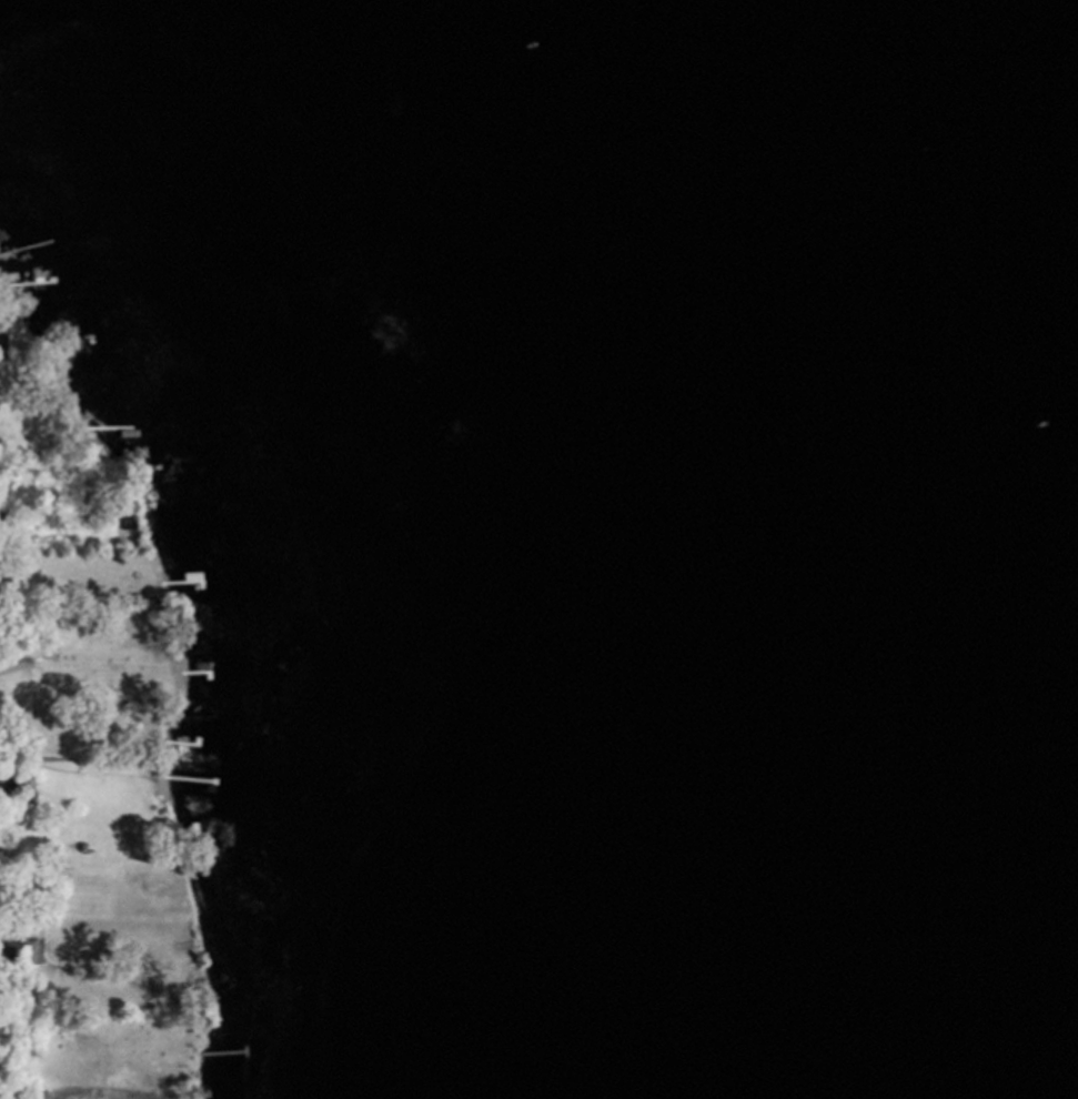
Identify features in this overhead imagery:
building: (18, 955)

